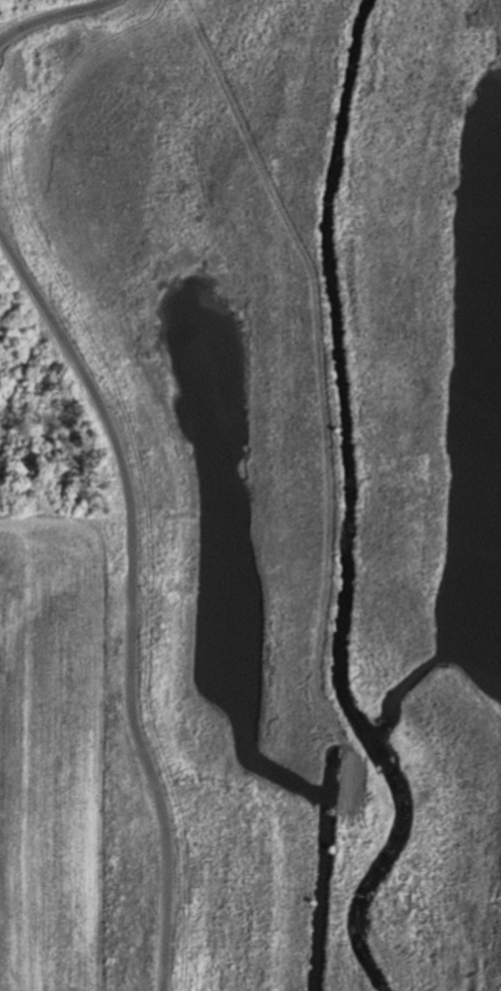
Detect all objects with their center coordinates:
road: (52, 14)
park: (269, 472)
road: (128, 601)
crop: (44, 745)

